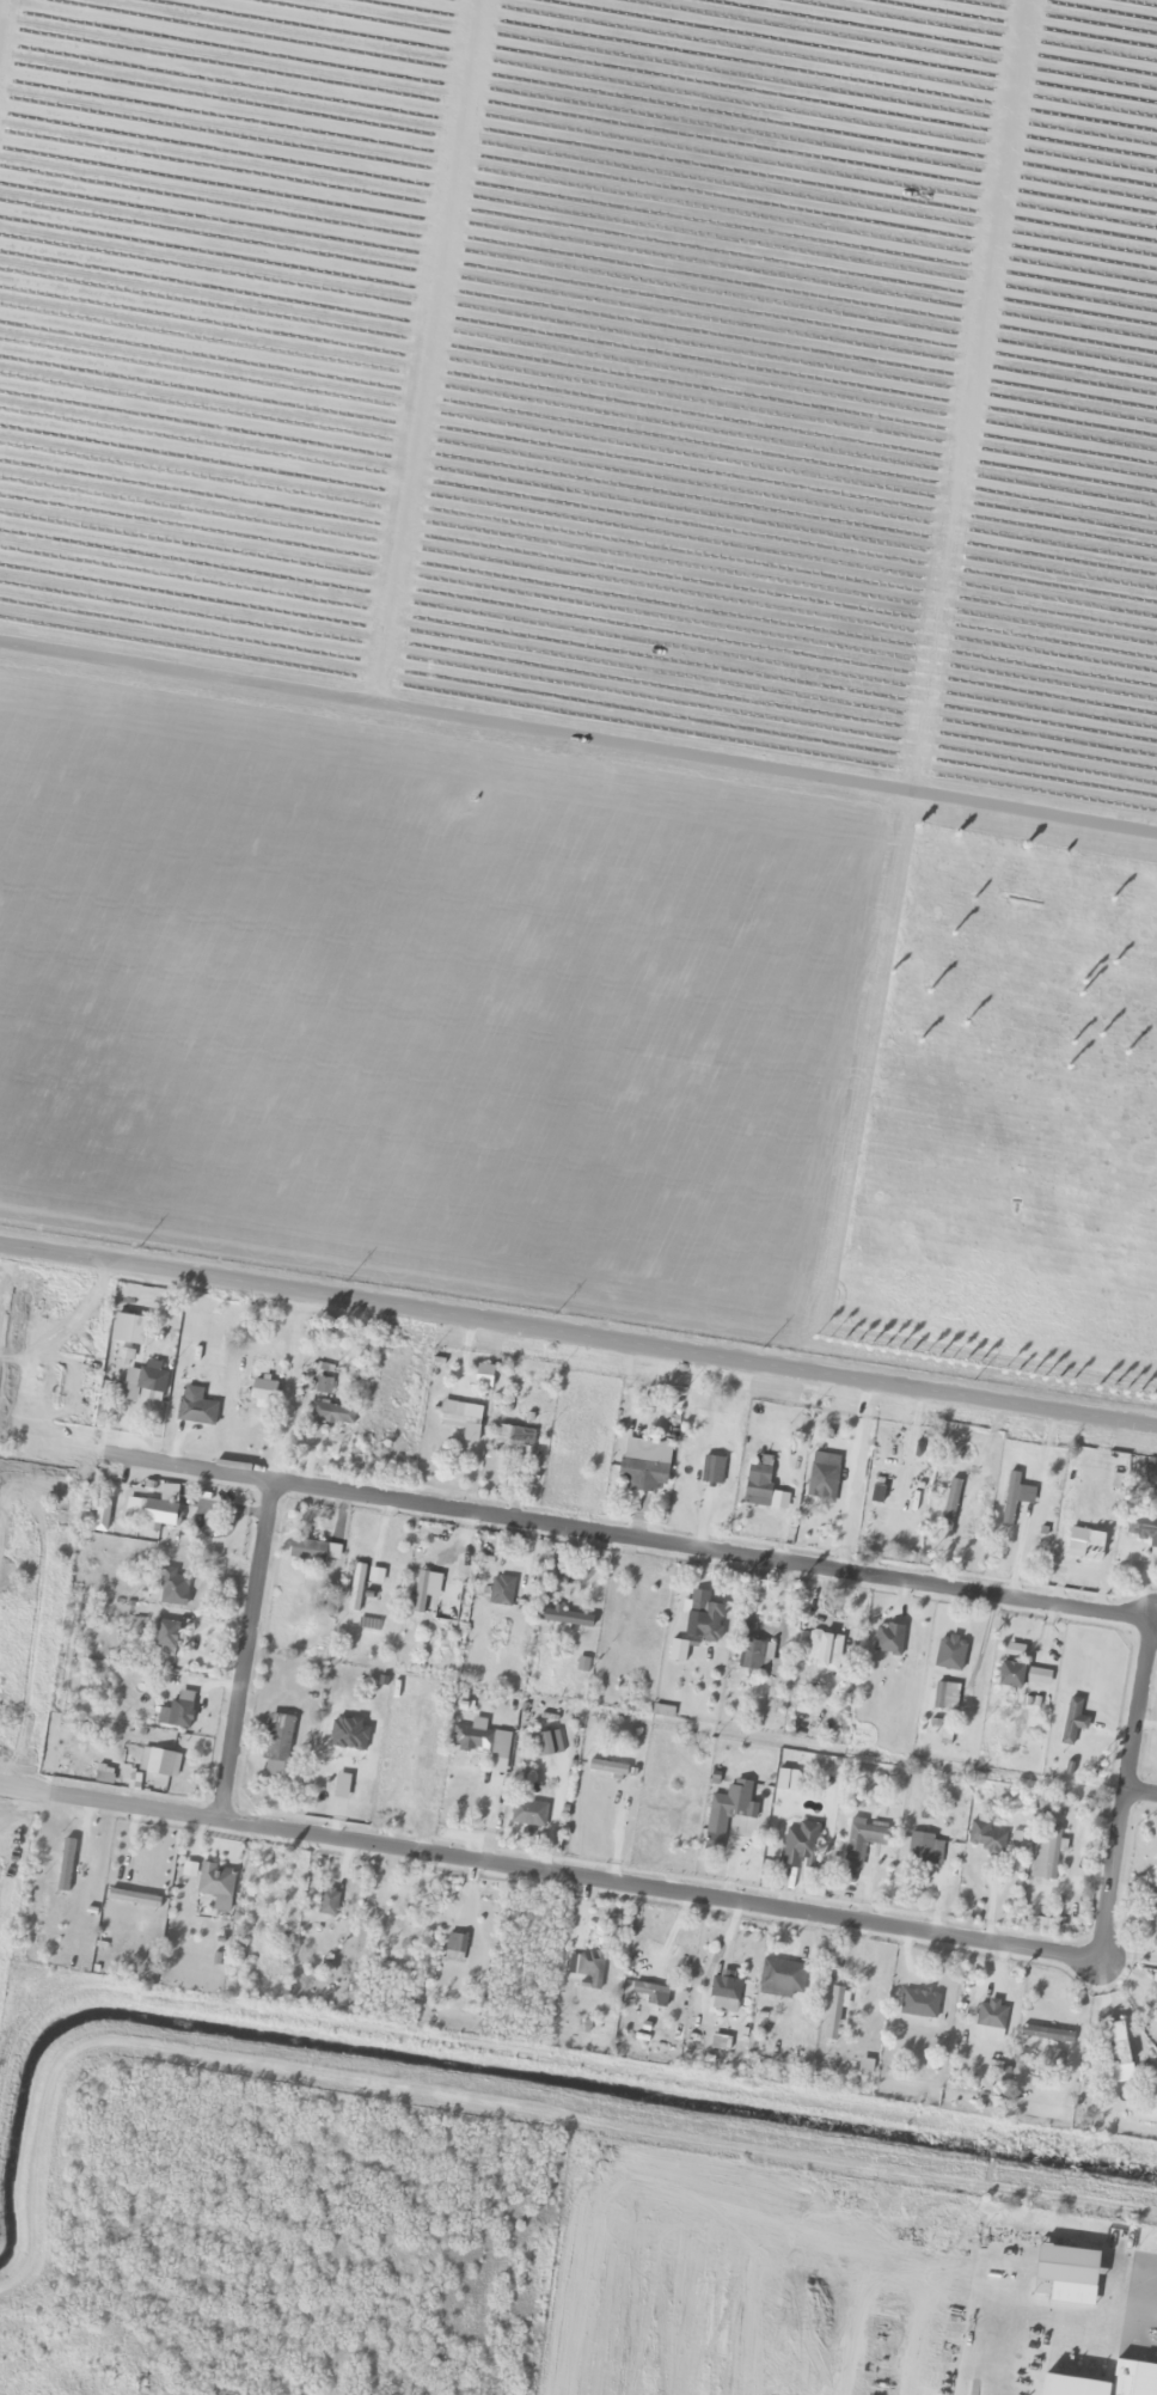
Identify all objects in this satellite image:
railway: (578, 695)
road: (578, 745)
road: (578, 1336)
building: (323, 1386)
building: (263, 1389)
building: (195, 1407)
building: (332, 1413)
building: (514, 1437)
building: (644, 1464)
building: (711, 1470)
building: (822, 1477)
building: (687, 1478)
building: (759, 1478)
building: (957, 1496)
building: (1009, 1498)
building: (912, 1507)
building: (159, 1513)
building: (1140, 1527)
building: (307, 1551)
road: (801, 1565)
building: (172, 1588)
building: (355, 1588)
building: (501, 1590)
building: (564, 1618)
building: (704, 1621)
building: (626, 1633)
building: (166, 1638)
building: (888, 1639)
building: (824, 1650)
road: (249, 1654)
building: (949, 1654)
building: (753, 1656)
building: (1011, 1674)
building: (944, 1697)
building: (172, 1711)
building: (1072, 1722)
building: (276, 1737)
building: (472, 1739)
building: (160, 1762)
building: (607, 1768)
building: (544, 1770)
building: (103, 1774)
building: (345, 1784)
road: (1141, 1796)
building: (730, 1802)
building: (527, 1814)
building: (986, 1839)
building: (800, 1845)
building: (858, 1845)
building: (924, 1850)
building: (66, 1876)
road: (582, 1880)
building: (329, 1902)
building: (265, 1908)
building: (198, 1910)
building: (1155, 1933)
building: (586, 1966)
building: (390, 1969)
building: (782, 1977)
building: (920, 2002)
building: (833, 2014)
building: (722, 2015)
building: (987, 2022)
building: (1046, 2035)
building: (1115, 2046)
building: (1066, 2268)
building: (1063, 2365)
building: (1108, 2381)

